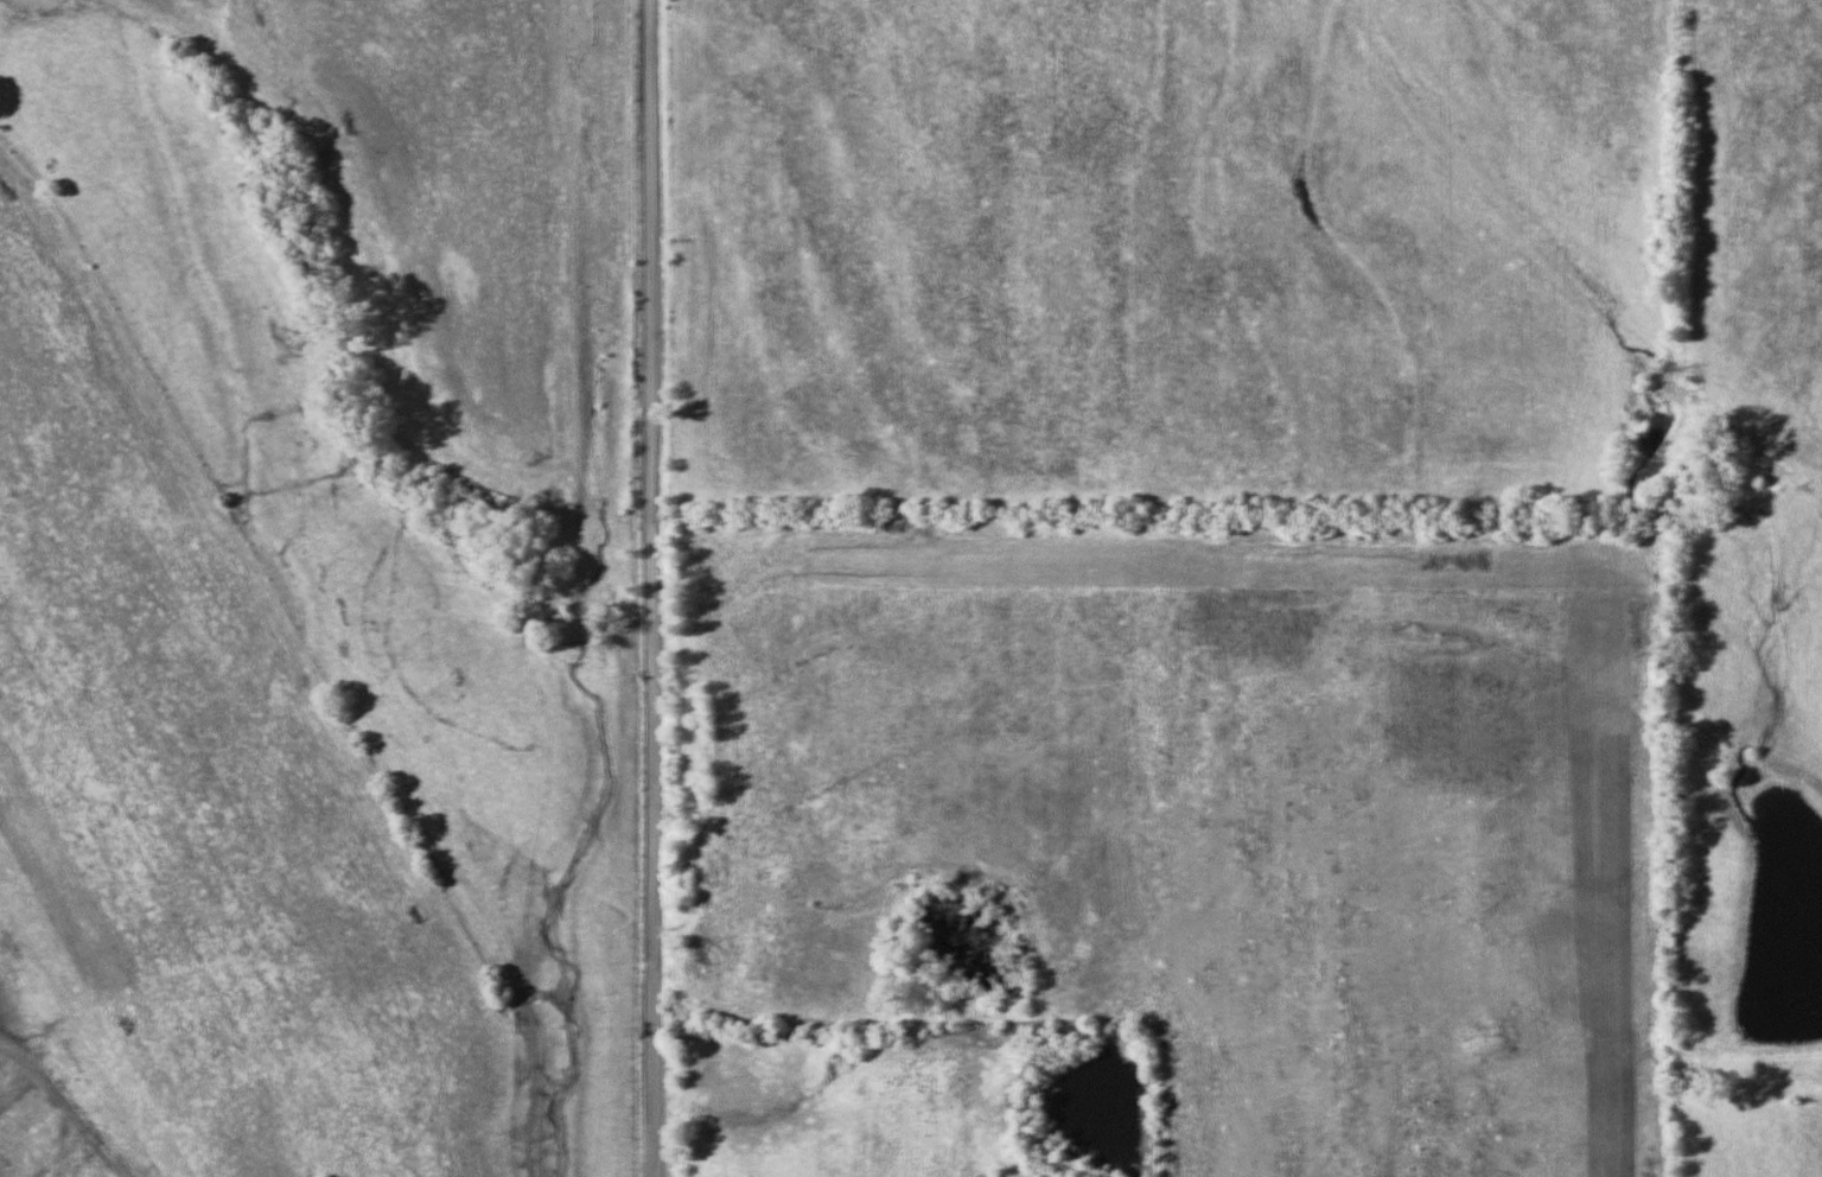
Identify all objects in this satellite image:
road: (648, 588)

